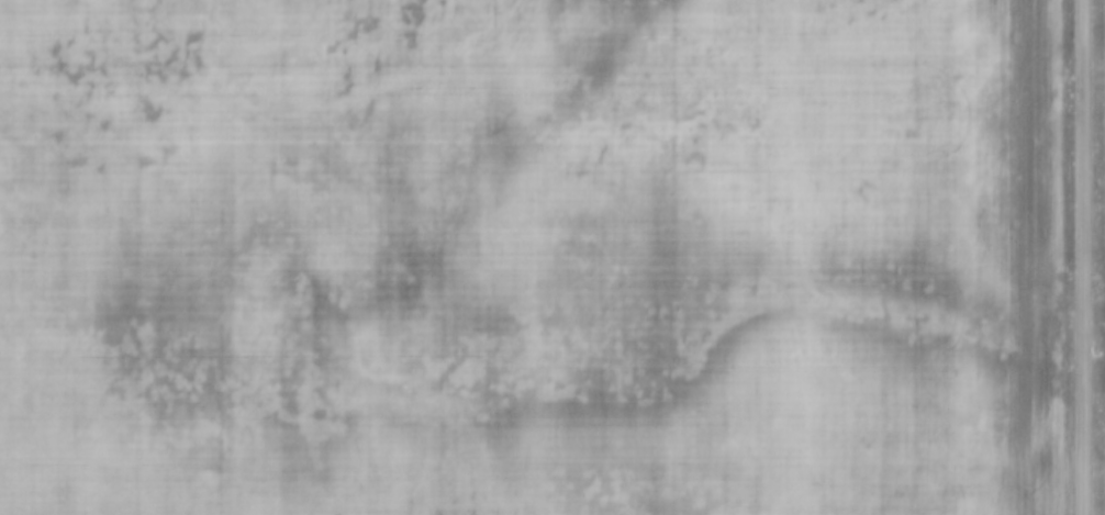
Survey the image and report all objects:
road: (1086, 257)

